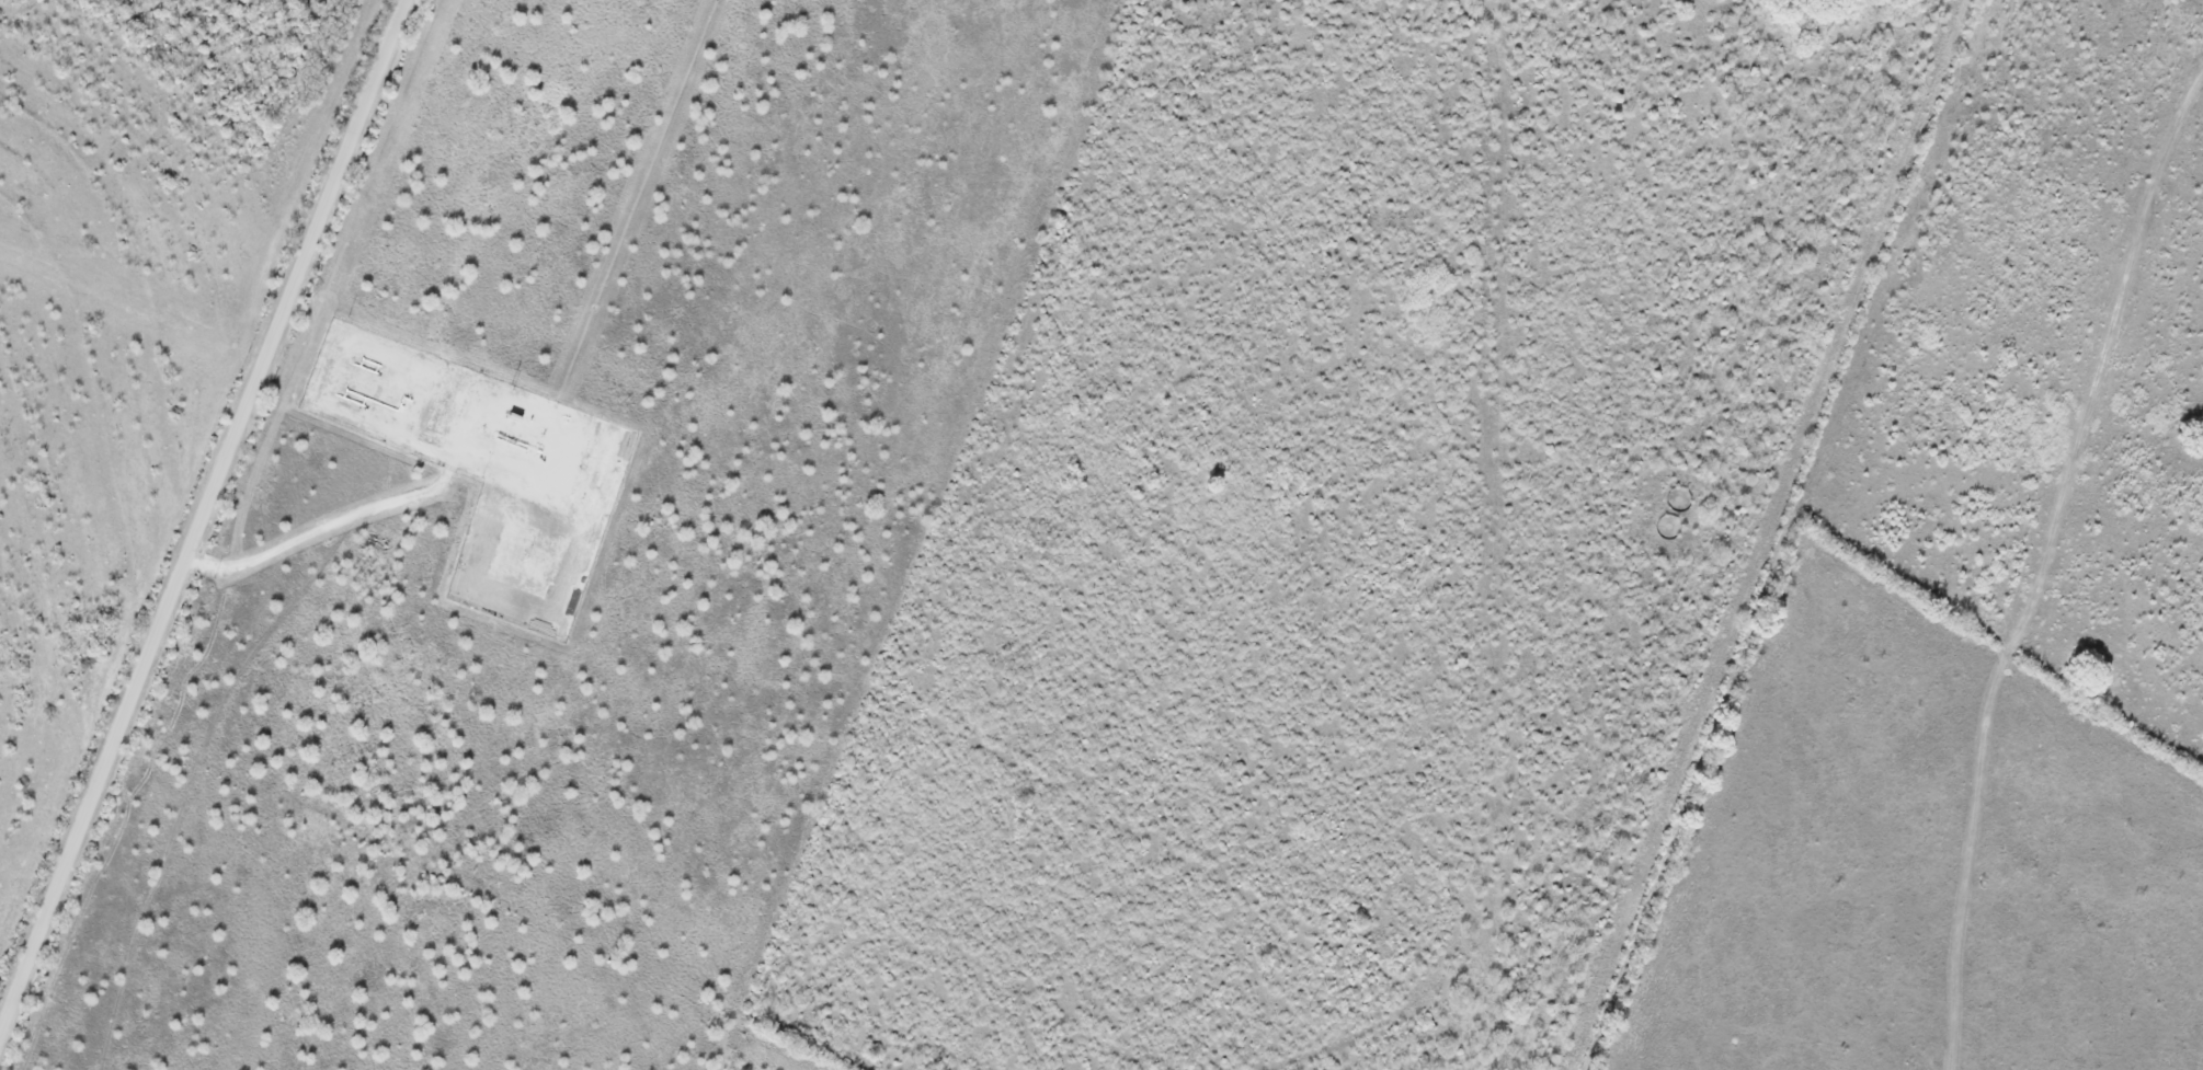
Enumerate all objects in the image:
road: (205, 516)

